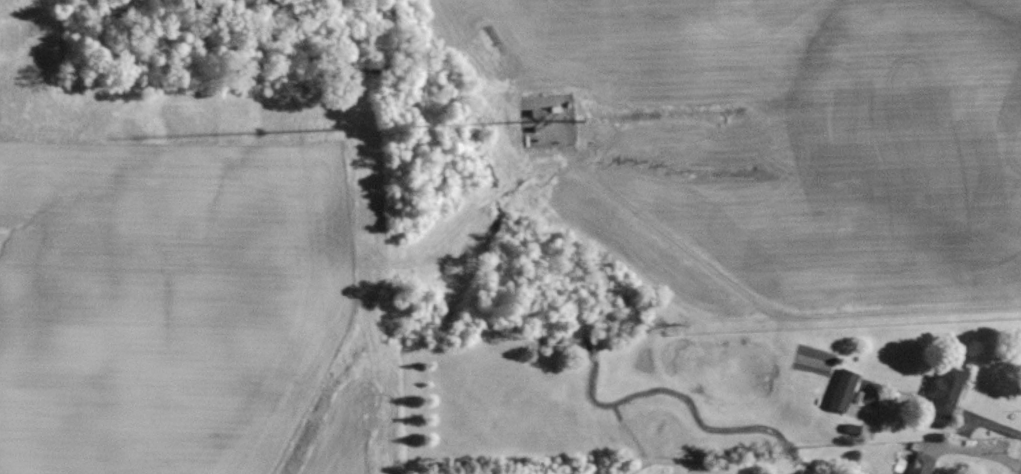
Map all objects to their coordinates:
building: (842, 389)
building: (944, 390)
building: (916, 463)

